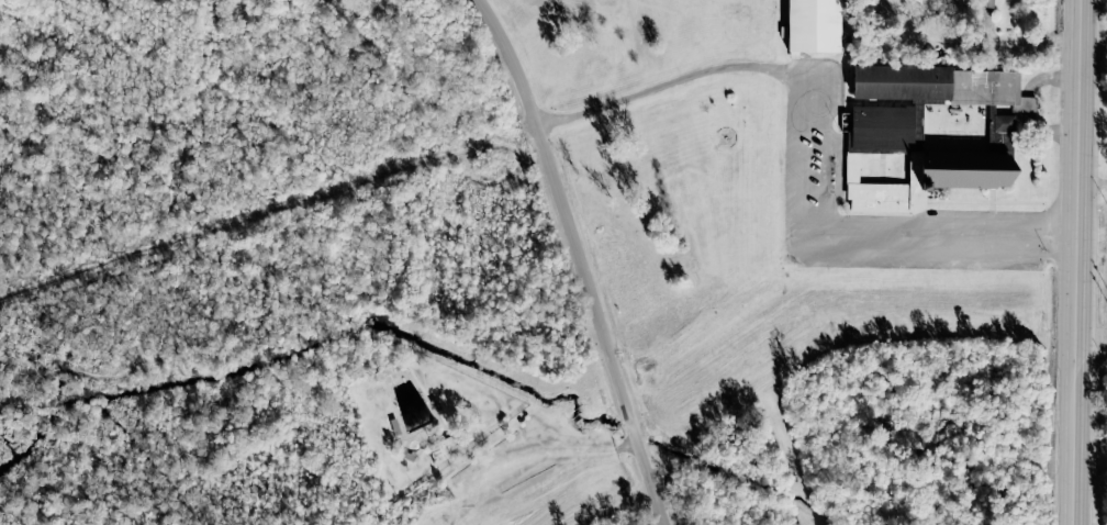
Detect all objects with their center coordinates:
building: (986, 3)
building: (813, 26)
road: (668, 82)
building: (940, 85)
building: (1003, 122)
road: (272, 208)
road: (853, 250)
road: (584, 258)
road: (1078, 261)
building: (443, 447)

